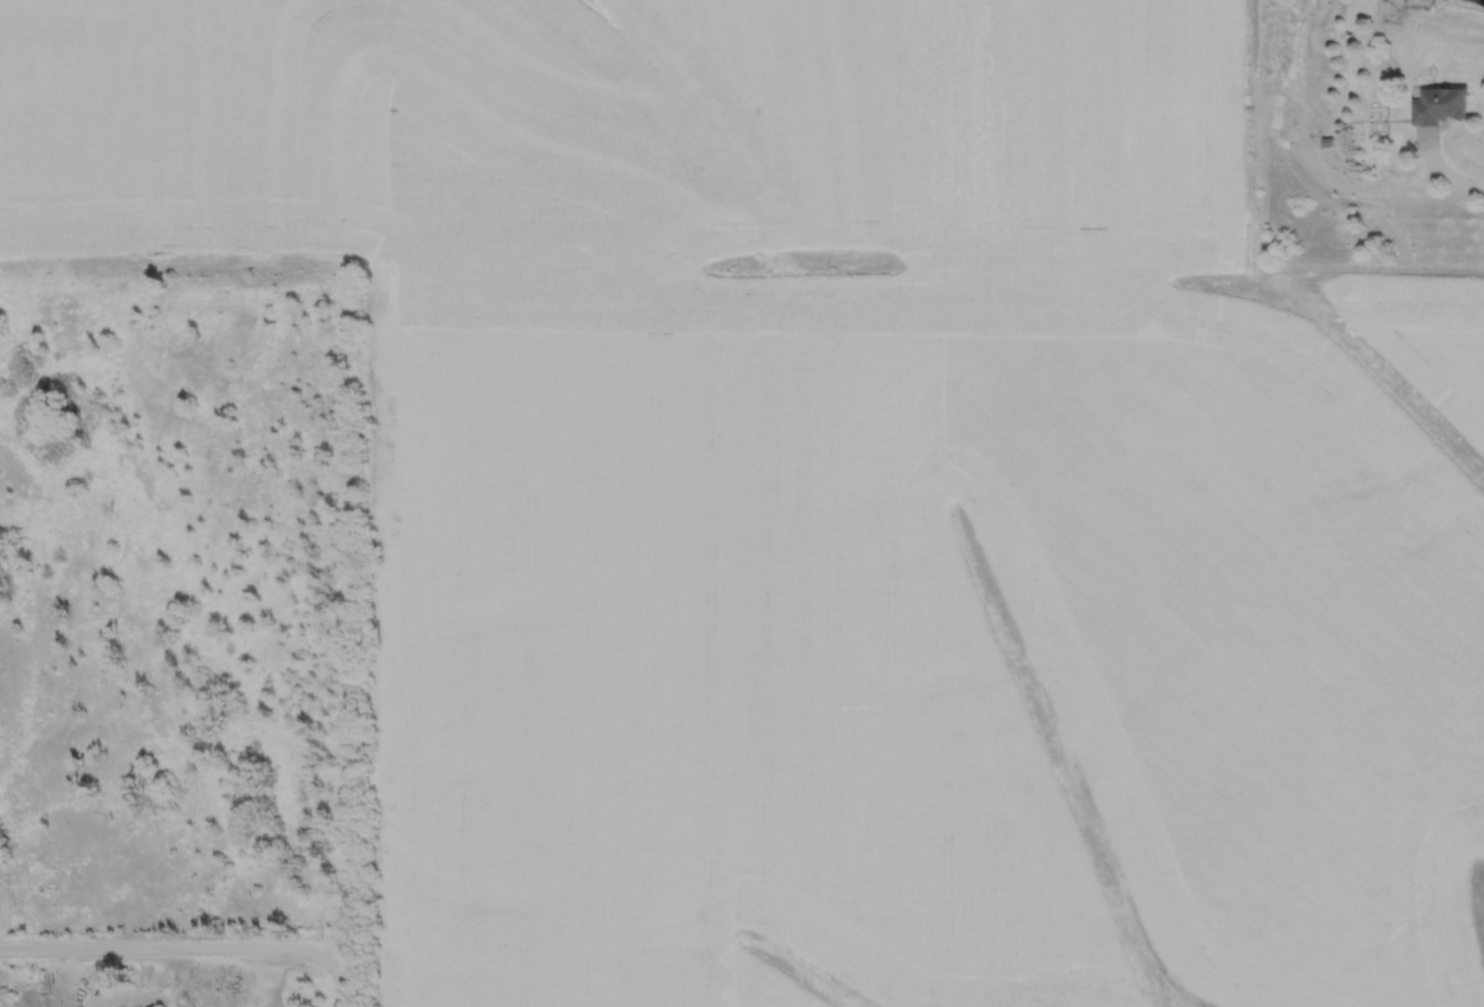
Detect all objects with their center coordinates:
building: (1439, 105)
road: (1444, 172)
road: (190, 946)

